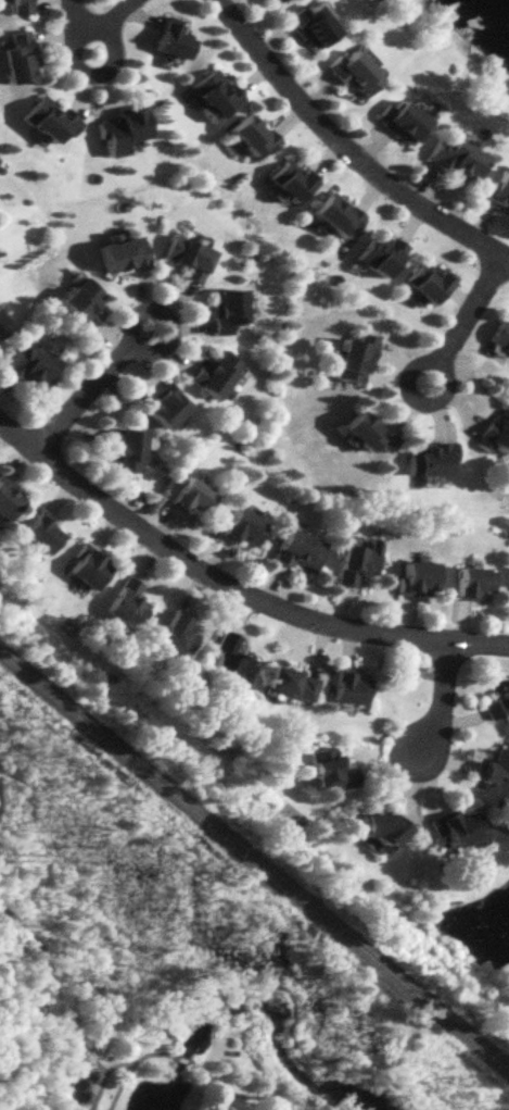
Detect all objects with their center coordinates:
building: (269, 1)
building: (16, 7)
building: (308, 24)
road: (87, 25)
building: (168, 39)
building: (15, 58)
road: (91, 71)
building: (349, 72)
building: (211, 92)
building: (48, 119)
building: (398, 121)
building: (119, 130)
building: (249, 135)
road: (346, 149)
building: (451, 158)
building: (289, 179)
building: (498, 188)
building: (334, 214)
building: (377, 253)
building: (120, 254)
building: (186, 257)
building: (425, 282)
building: (80, 301)
road: (465, 307)
building: (226, 311)
building: (2, 325)
road: (124, 334)
building: (499, 335)
building: (351, 358)
building: (29, 365)
building: (214, 373)
road: (404, 387)
road: (79, 395)
building: (164, 409)
building: (366, 432)
building: (495, 432)
building: (125, 449)
building: (428, 460)
building: (192, 496)
building: (8, 498)
building: (241, 527)
building: (42, 532)
building: (296, 549)
building: (355, 562)
building: (86, 569)
building: (415, 577)
building: (471, 582)
road: (231, 586)
building: (126, 603)
building: (177, 634)
building: (229, 662)
building: (290, 684)
building: (347, 688)
road: (440, 698)
building: (496, 703)
building: (495, 766)
building: (328, 770)
road: (7, 781)
building: (382, 827)
building: (459, 827)
railway: (254, 862)
park: (177, 962)
road: (277, 976)
road: (56, 982)
road: (293, 1006)
road: (181, 1058)
road: (130, 1067)
road: (103, 1074)
road: (238, 1094)

